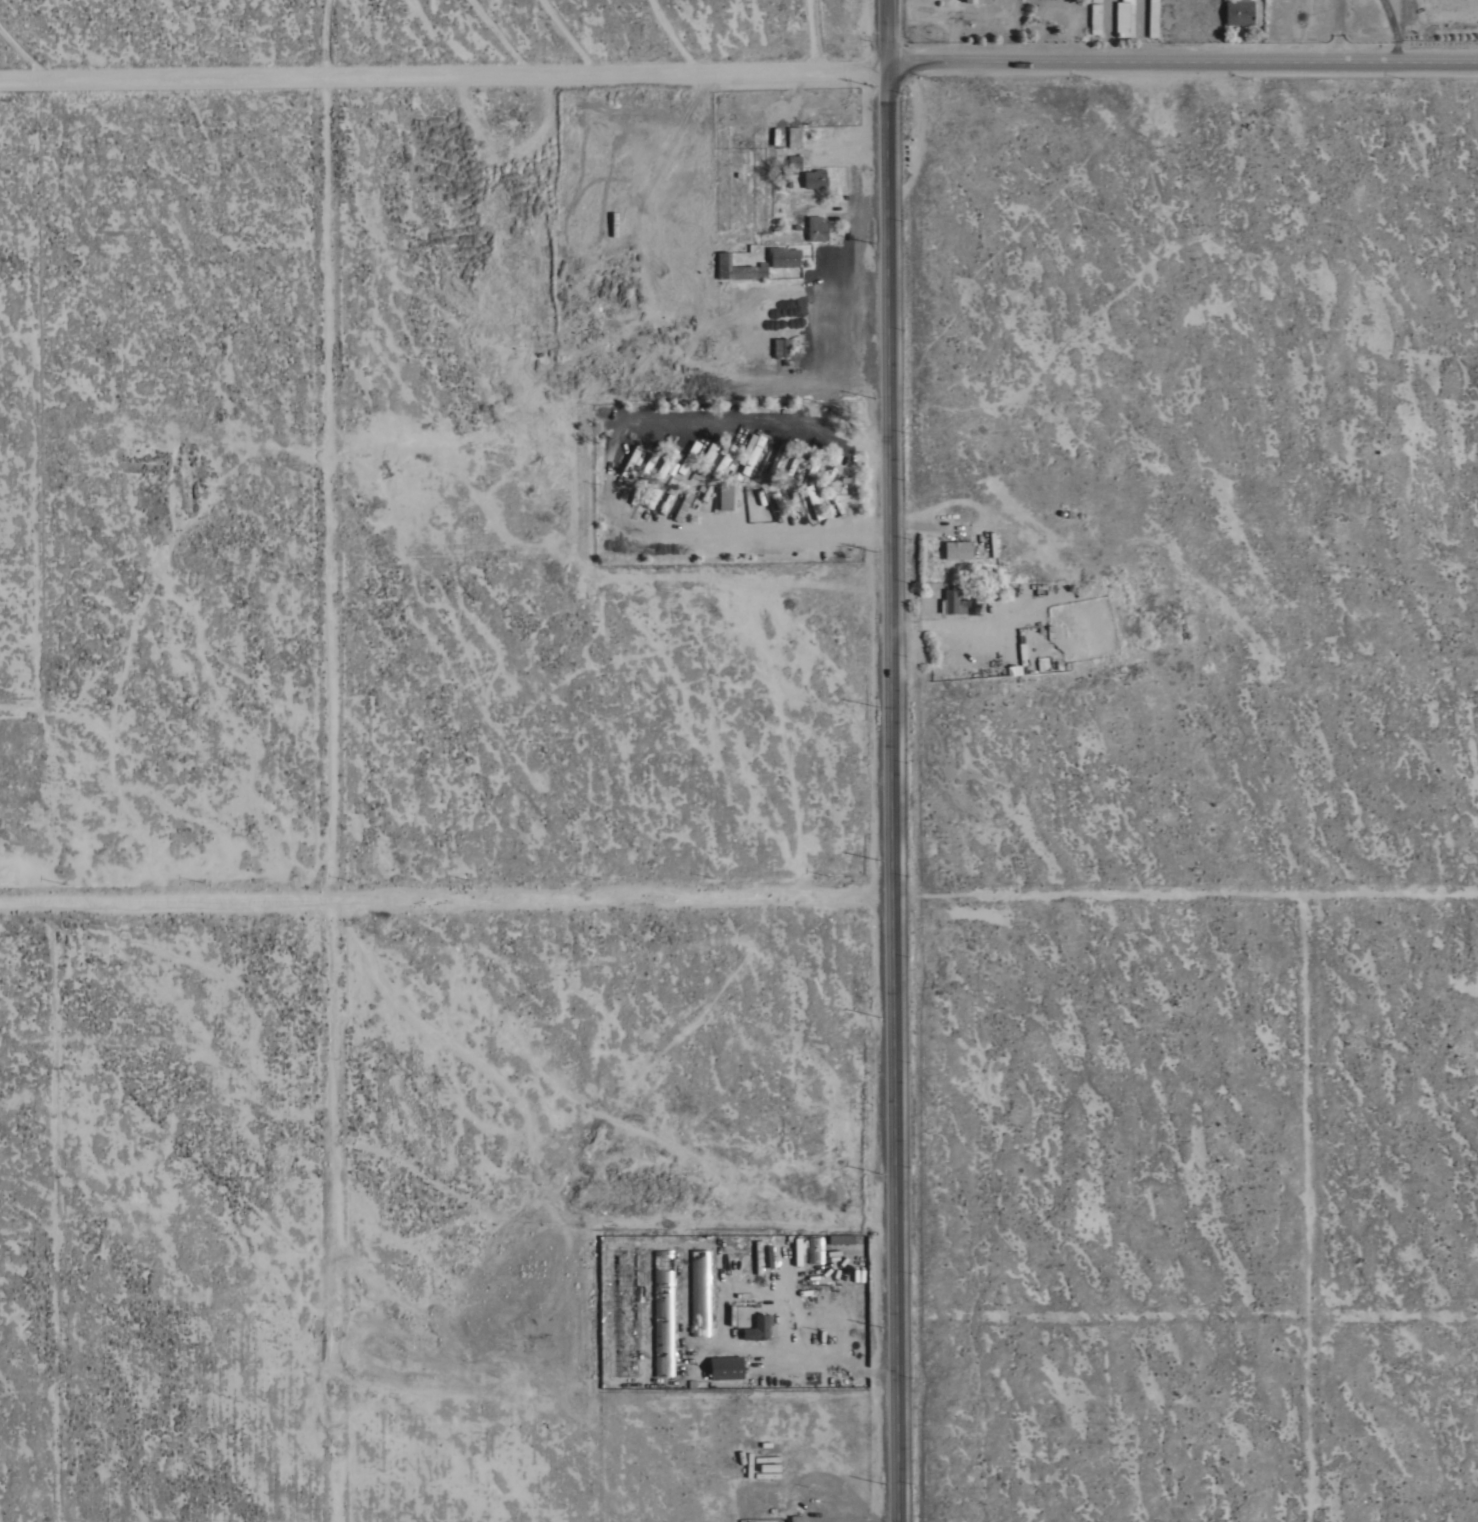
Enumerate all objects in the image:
building: (976, 1)
building: (1238, 12)
building: (1095, 18)
building: (1124, 18)
building: (1152, 18)
road: (1342, 34)
road: (1184, 69)
road: (445, 76)
building: (793, 136)
building: (793, 160)
building: (814, 178)
building: (816, 228)
building: (787, 256)
building: (751, 270)
building: (780, 346)
building: (737, 454)
building: (704, 458)
building: (665, 460)
road: (611, 477)
building: (724, 496)
building: (957, 549)
building: (951, 600)
road: (891, 761)
road: (320, 800)
road: (446, 905)
building: (840, 1238)
building: (814, 1249)
building: (797, 1250)
building: (699, 1291)
building: (625, 1296)
building: (663, 1312)
building: (758, 1327)
road: (818, 1363)
building: (626, 1365)
building: (726, 1367)
building: (765, 1458)
building: (766, 1474)
building: (793, 1518)

